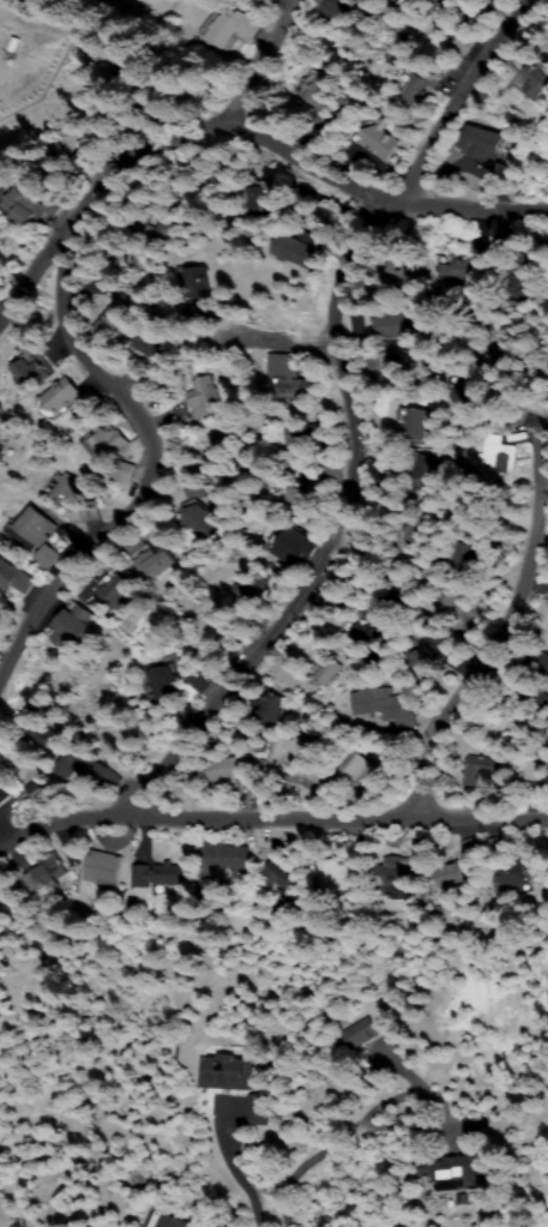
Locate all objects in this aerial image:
building: (24, 1)
building: (440, 1)
building: (53, 6)
building: (345, 12)
building: (230, 28)
building: (547, 36)
building: (536, 82)
building: (417, 83)
building: (318, 91)
road: (474, 107)
building: (134, 119)
building: (377, 140)
building: (483, 144)
building: (544, 146)
road: (150, 157)
building: (59, 169)
road: (319, 169)
building: (267, 197)
building: (28, 204)
building: (169, 230)
building: (477, 245)
building: (303, 248)
building: (498, 248)
building: (404, 267)
building: (457, 272)
building: (207, 287)
building: (517, 287)
building: (115, 324)
building: (389, 325)
building: (152, 345)
building: (546, 361)
road: (287, 365)
building: (507, 365)
building: (392, 373)
building: (35, 375)
building: (287, 377)
building: (463, 391)
building: (200, 395)
building: (61, 397)
building: (417, 423)
building: (5, 429)
building: (303, 435)
building: (107, 441)
road: (118, 444)
building: (213, 451)
building: (499, 455)
building: (426, 468)
building: (118, 470)
building: (65, 488)
building: (187, 488)
building: (303, 491)
building: (470, 511)
building: (193, 519)
building: (38, 529)
building: (415, 533)
road: (347, 539)
building: (290, 545)
building: (49, 555)
building: (464, 555)
building: (150, 559)
building: (13, 577)
building: (115, 589)
building: (399, 589)
building: (251, 590)
building: (447, 600)
building: (71, 625)
building: (368, 632)
building: (540, 662)
building: (421, 664)
building: (324, 669)
building: (200, 679)
building: (159, 685)
road: (471, 686)
building: (532, 696)
building: (384, 703)
building: (271, 706)
building: (34, 724)
building: (301, 747)
building: (86, 769)
building: (225, 769)
building: (353, 770)
building: (480, 770)
building: (534, 771)
building: (2, 794)
road: (273, 823)
building: (225, 856)
building: (103, 868)
building: (462, 870)
building: (396, 871)
building: (43, 872)
building: (283, 872)
building: (164, 877)
building: (338, 877)
building: (510, 878)
building: (209, 889)
building: (360, 1034)
building: (224, 1072)
building: (255, 1109)
building: (459, 1165)
building: (174, 1221)

